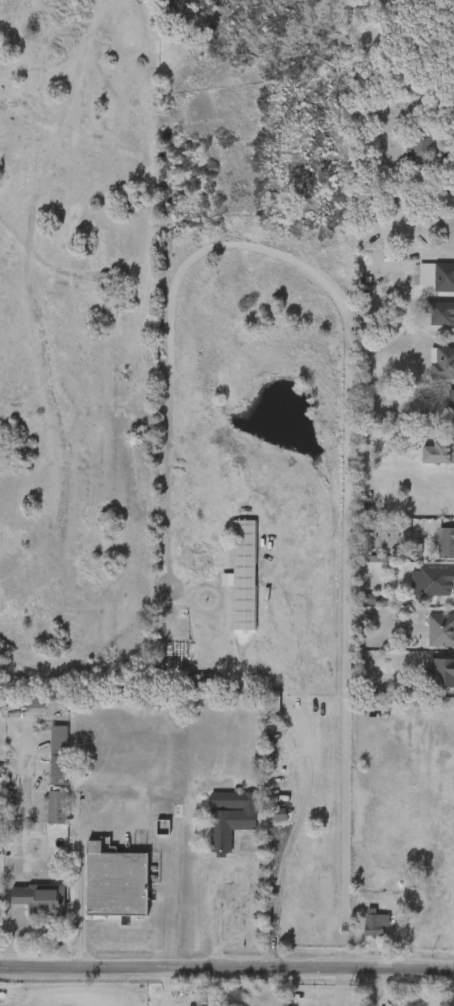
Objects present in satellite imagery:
building: (431, 1)
building: (425, 144)
building: (406, 157)
building: (444, 274)
building: (443, 362)
building: (452, 406)
building: (438, 451)
building: (427, 461)
building: (447, 541)
building: (434, 551)
building: (245, 573)
building: (433, 579)
building: (230, 585)
building: (419, 589)
building: (442, 628)
building: (429, 638)
building: (443, 671)
building: (429, 681)
building: (32, 699)
building: (59, 753)
building: (45, 763)
building: (42, 815)
building: (231, 816)
building: (266, 822)
building: (115, 881)
road: (277, 894)
building: (40, 898)
building: (27, 907)
road: (216, 914)
building: (376, 921)
road: (82, 924)
building: (433, 926)
road: (7, 927)
building: (361, 930)
road: (226, 970)
road: (174, 988)

